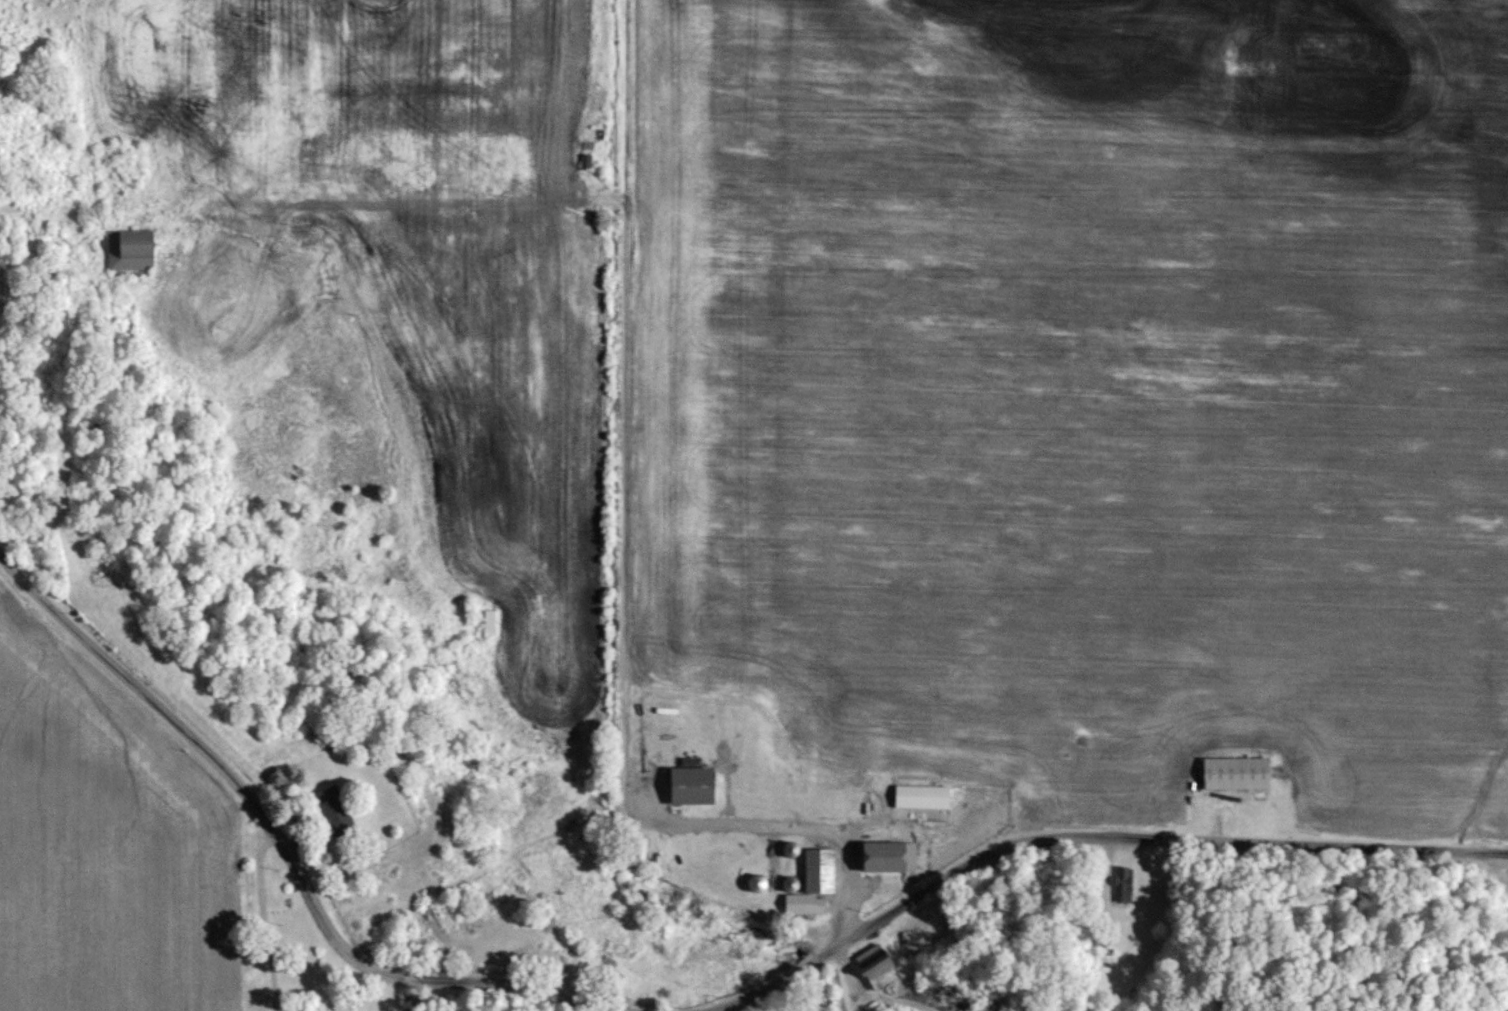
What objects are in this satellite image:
building: (131, 250)
building: (1237, 771)
building: (693, 782)
building: (922, 795)
building: (332, 804)
road: (1086, 837)
road: (281, 838)
building: (889, 855)
building: (820, 869)
building: (1123, 886)
building: (805, 902)

